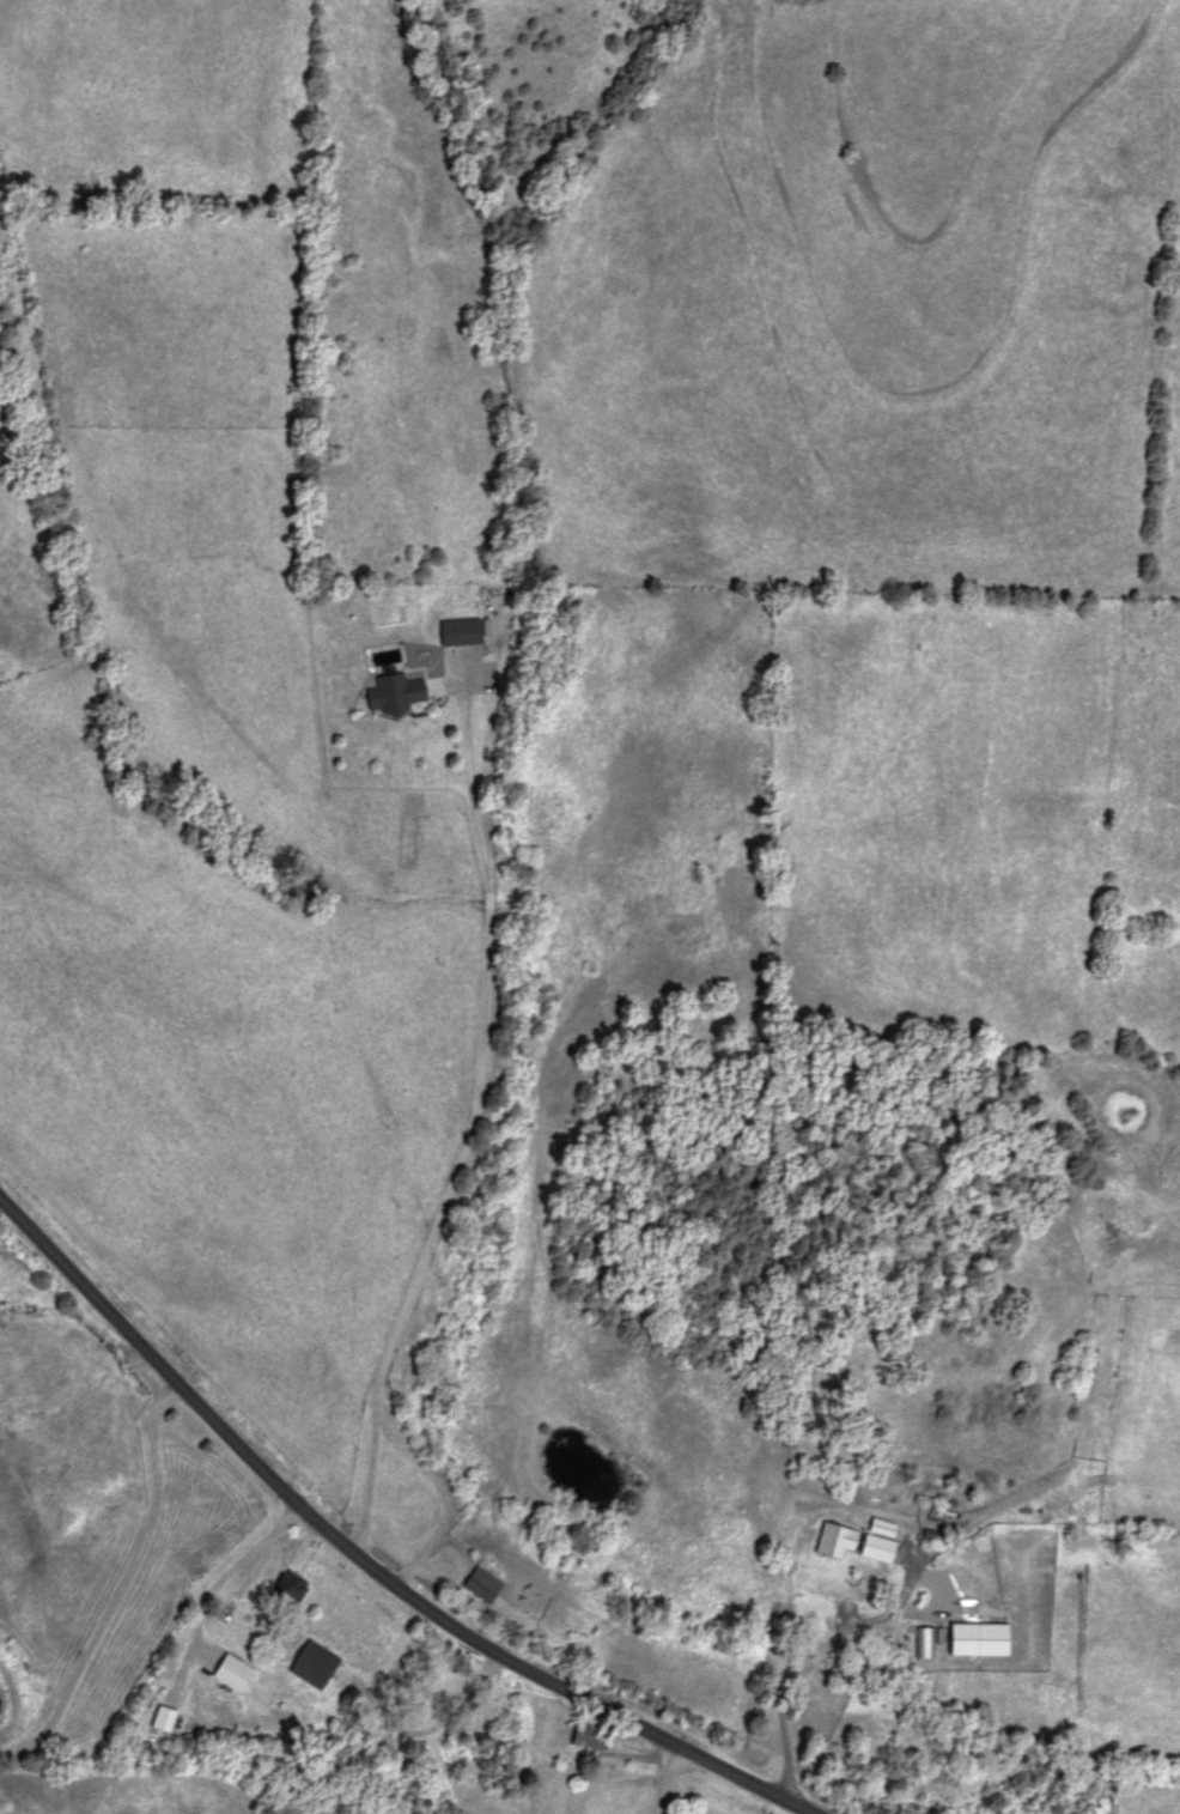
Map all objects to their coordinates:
building: (460, 632)
building: (396, 693)
building: (408, 839)
building: (847, 1540)
road: (367, 1561)
road: (120, 1585)
building: (230, 1602)
building: (310, 1663)
building: (230, 1672)
building: (585, 1736)
road: (665, 1778)

